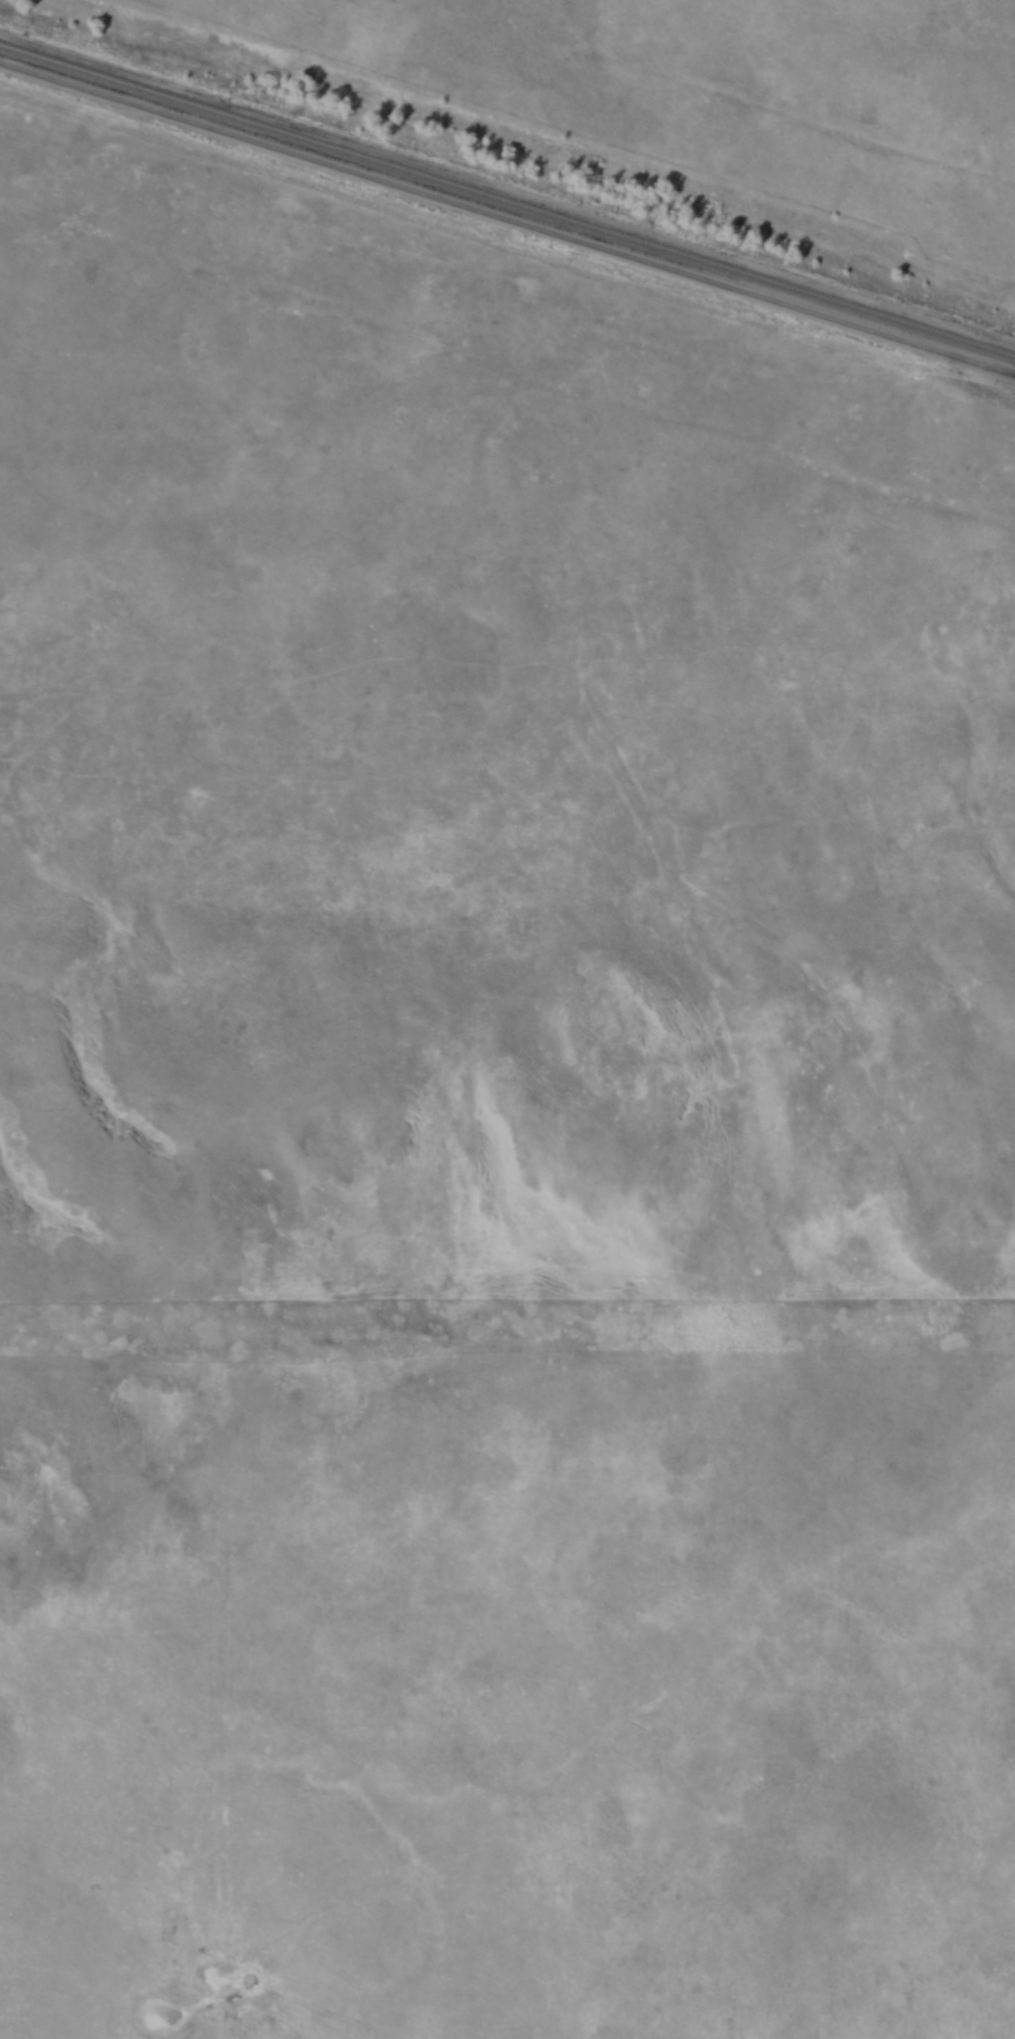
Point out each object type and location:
railway: (507, 199)
railway: (507, 217)

